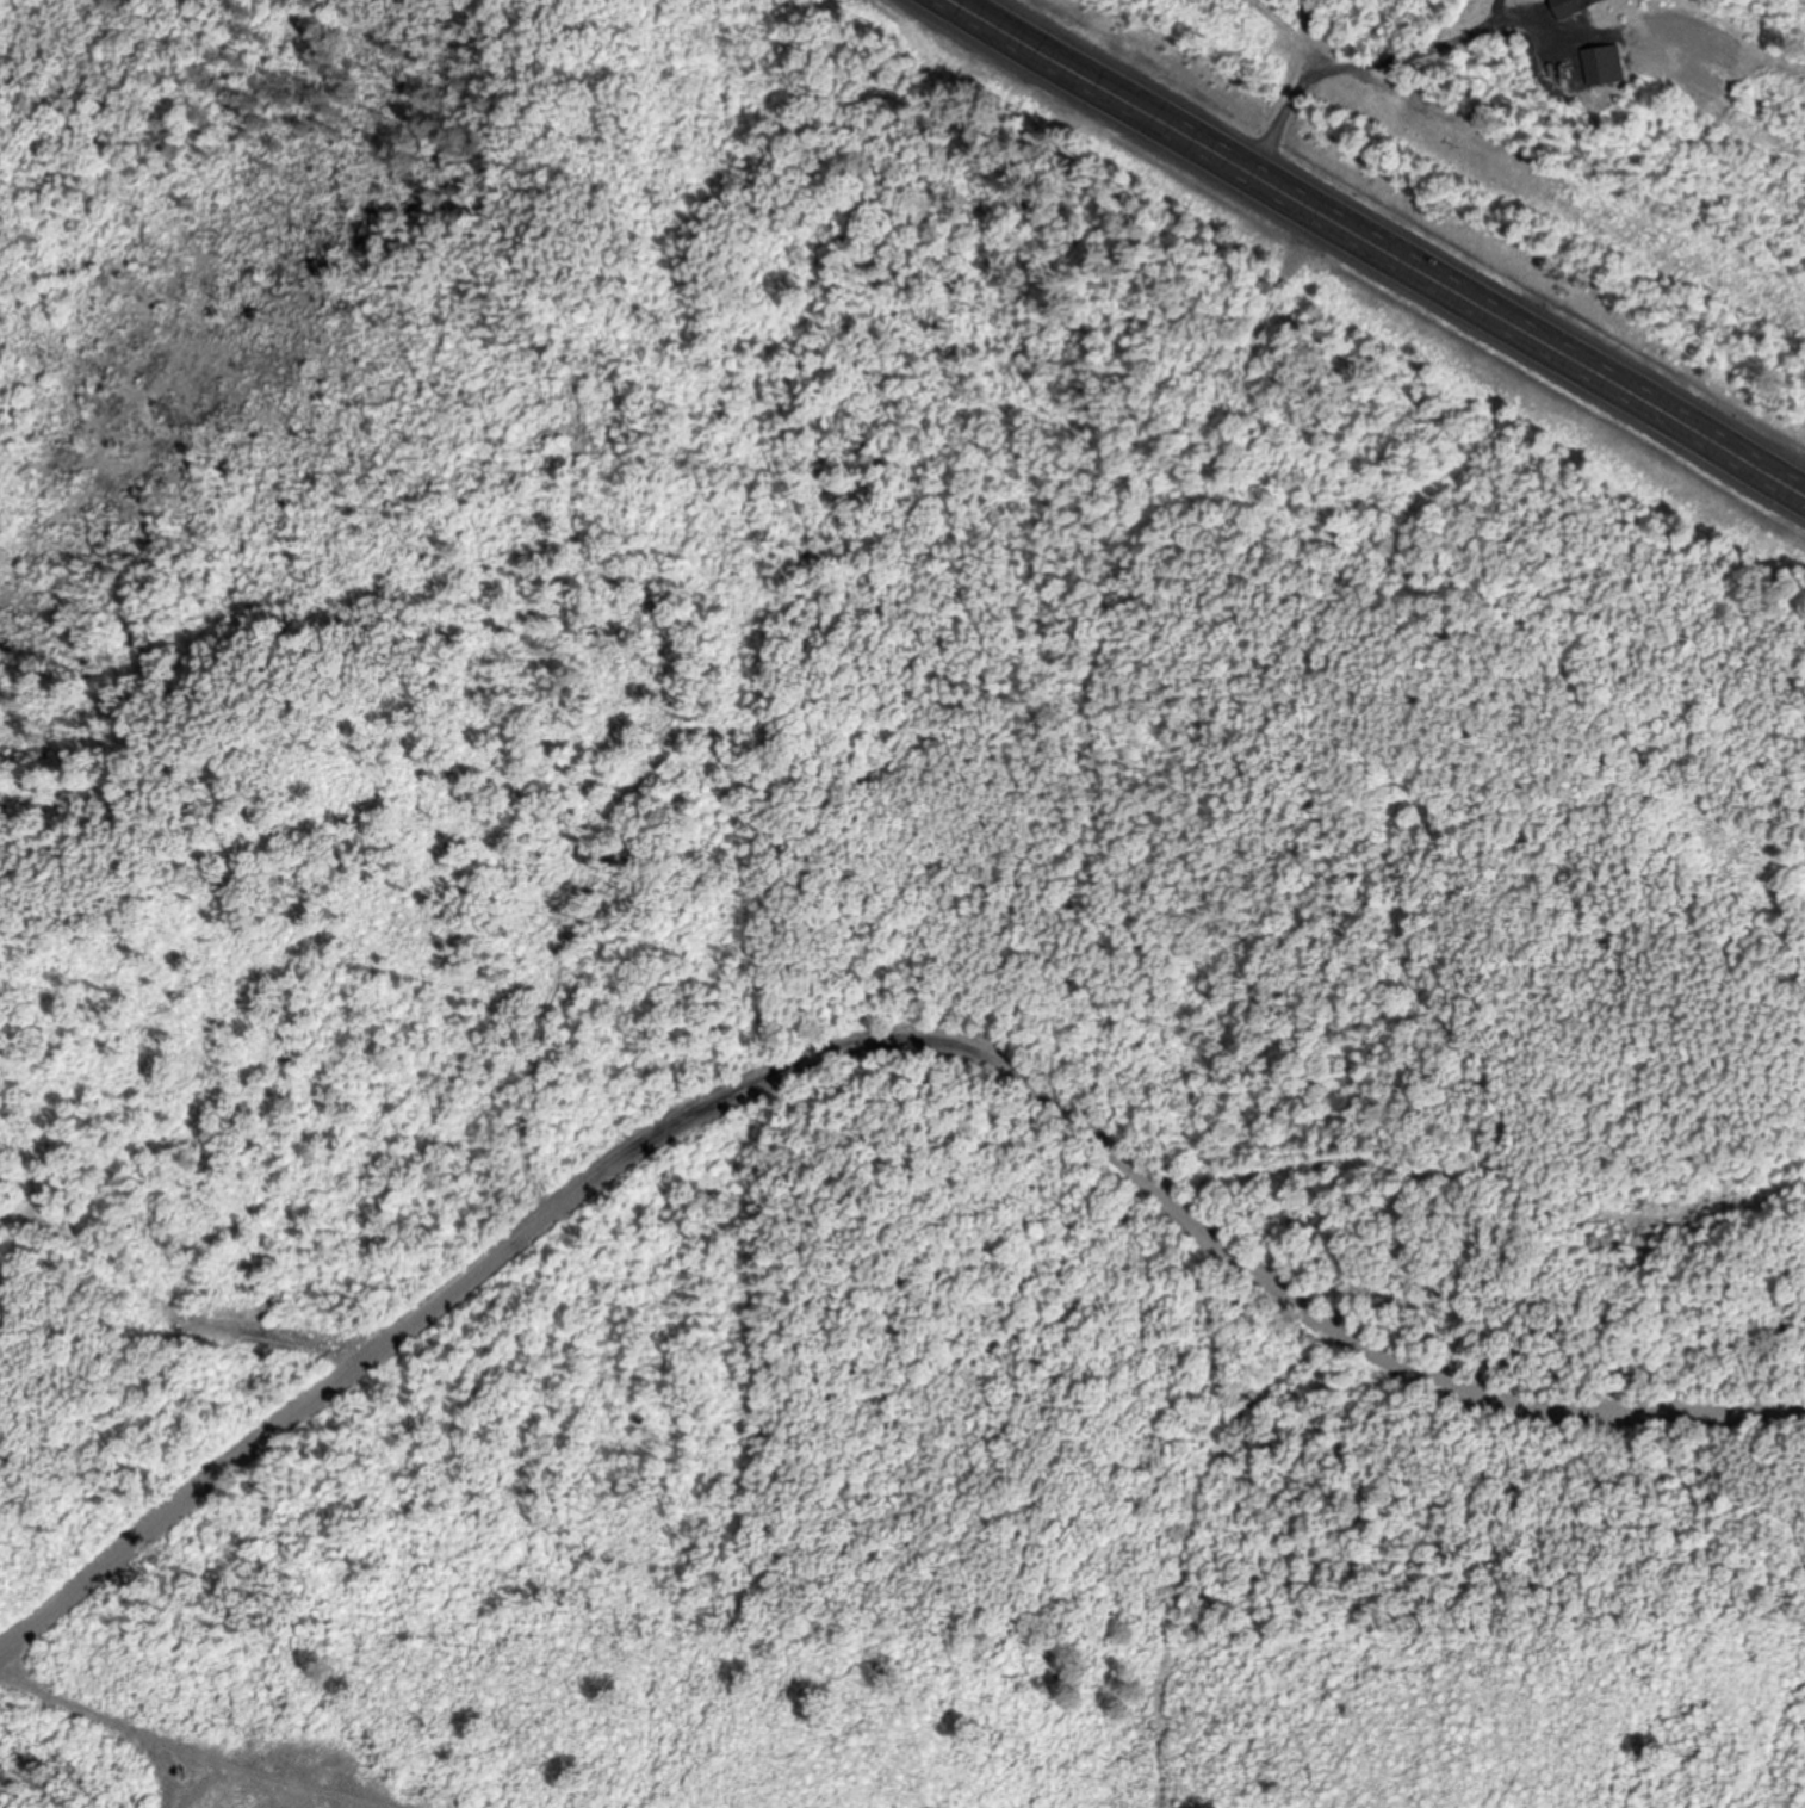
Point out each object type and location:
building: (1571, 6)
road: (1042, 54)
building: (1604, 64)
road: (1470, 301)
building: (15, 1148)
road: (582, 1191)
road: (1358, 1343)
road: (1666, 1434)
road: (1202, 1523)

